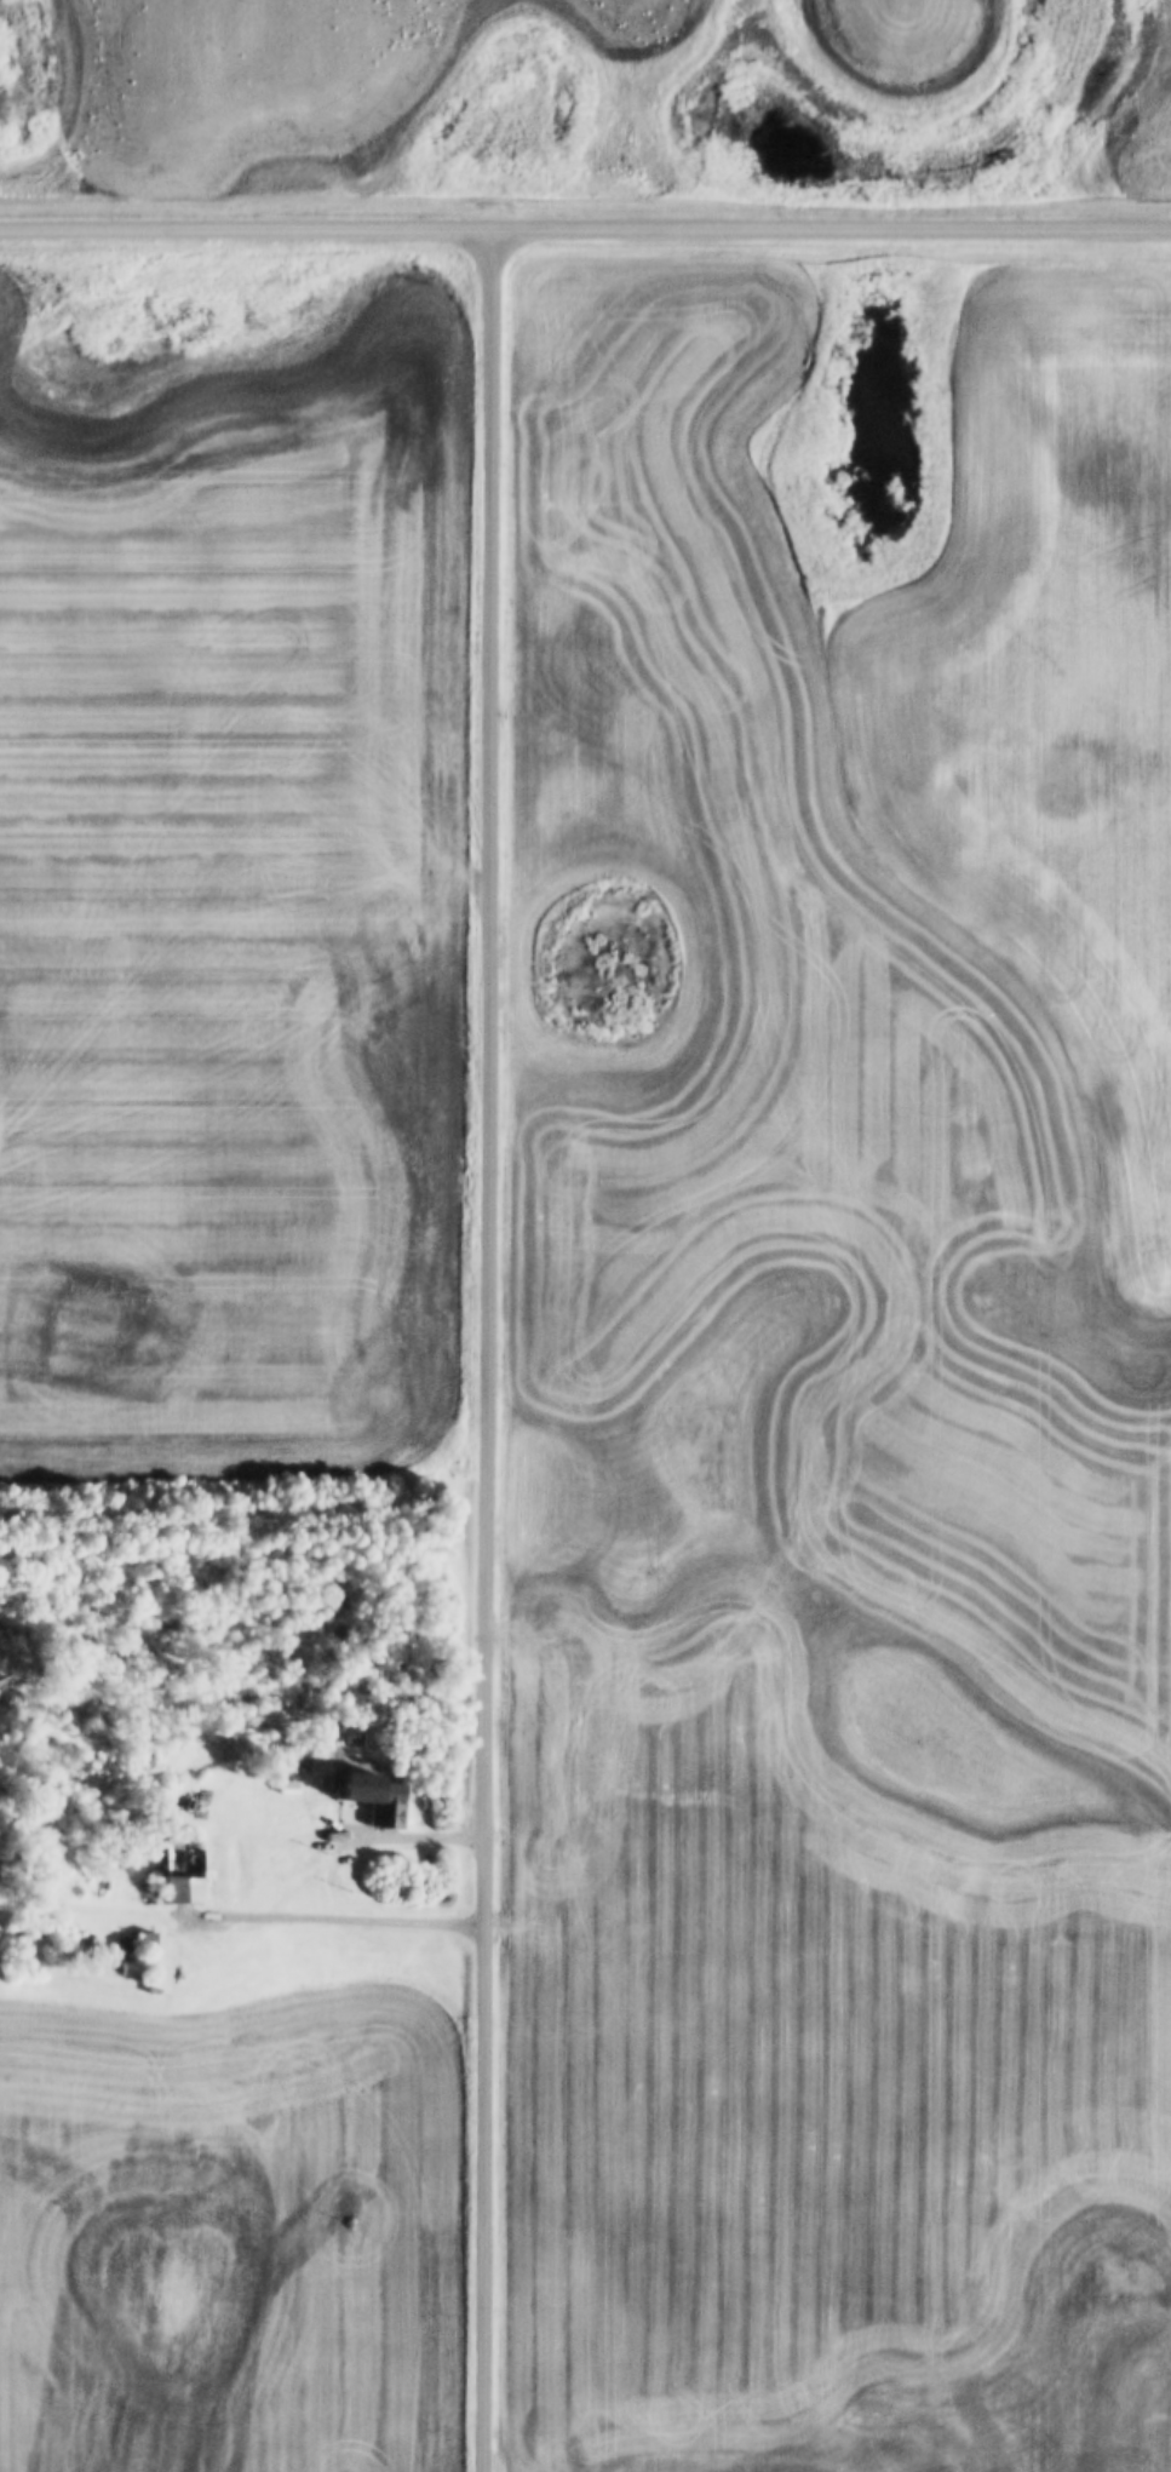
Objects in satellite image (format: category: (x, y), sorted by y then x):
road: (585, 223)
road: (487, 1348)
building: (374, 1738)
building: (572, 1738)
building: (388, 1812)
road: (392, 1835)
building: (184, 1869)
road: (325, 1915)
building: (147, 1940)
building: (137, 1967)

